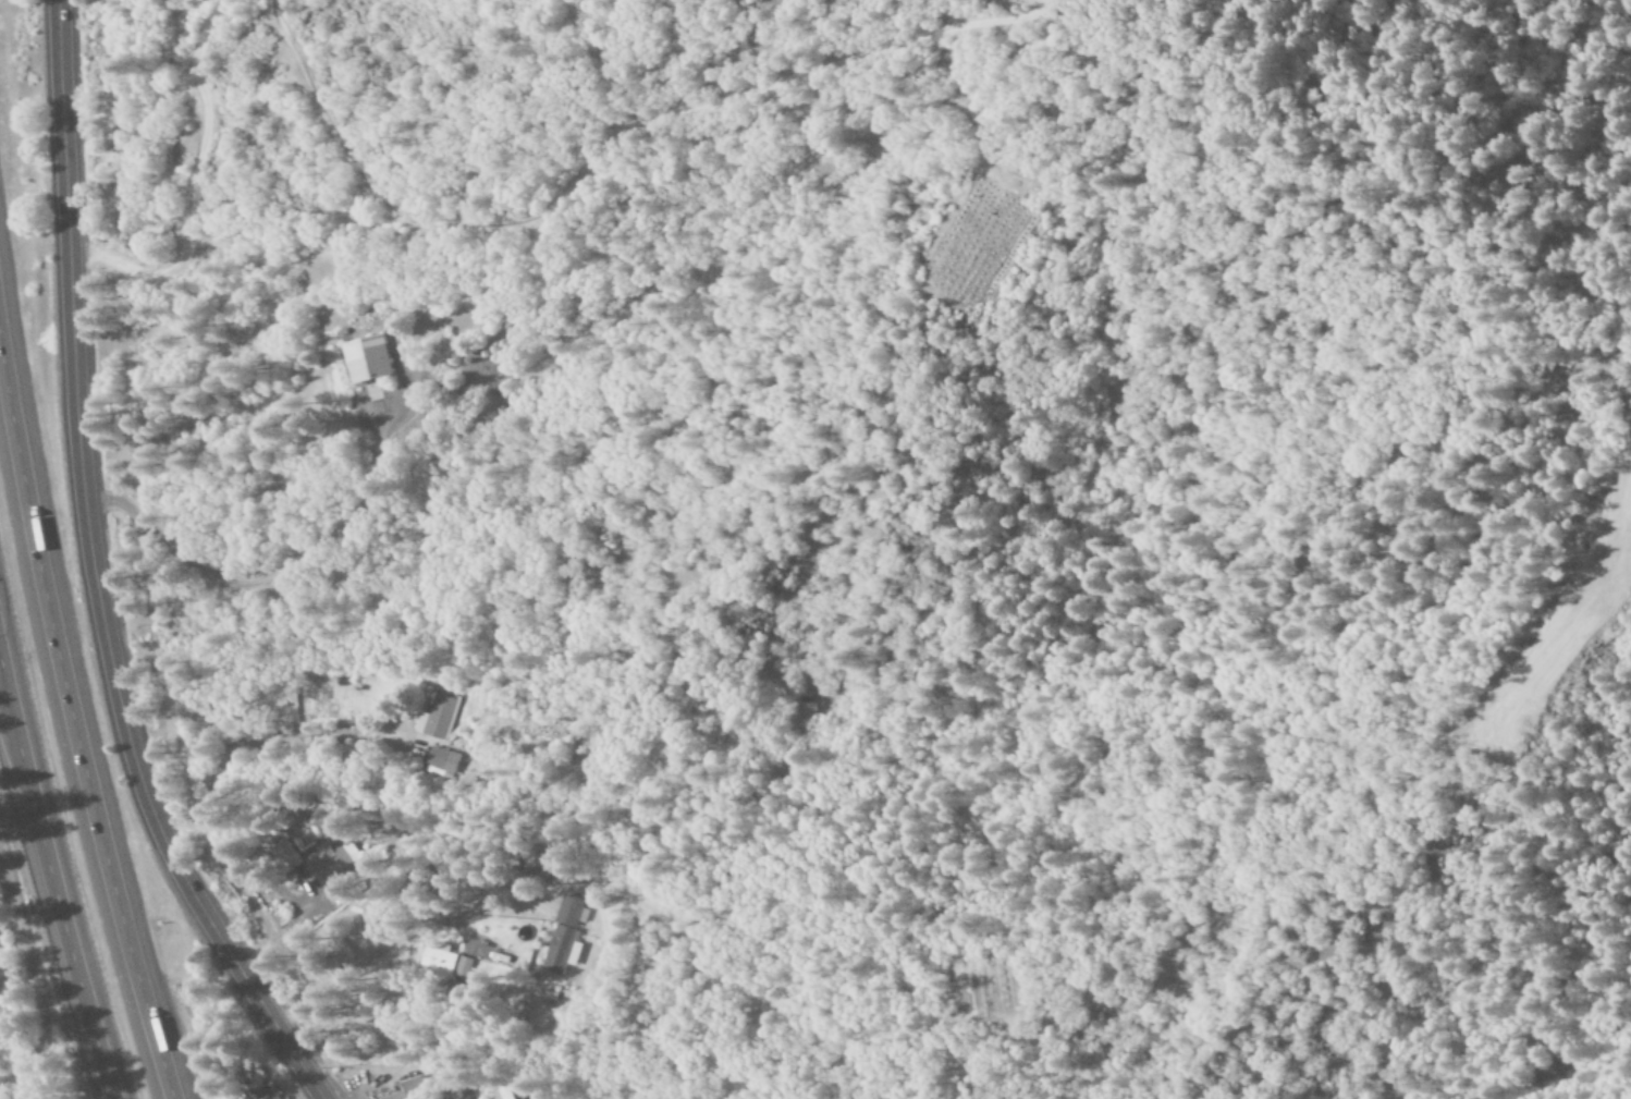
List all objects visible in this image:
building: (365, 359)
road: (271, 571)
road: (99, 574)
road: (75, 706)
building: (437, 717)
building: (440, 762)
building: (284, 856)
building: (327, 866)
building: (417, 884)
road: (57, 891)
road: (10, 913)
building: (562, 935)
building: (498, 955)
building: (446, 961)
building: (409, 1089)
building: (504, 1091)

